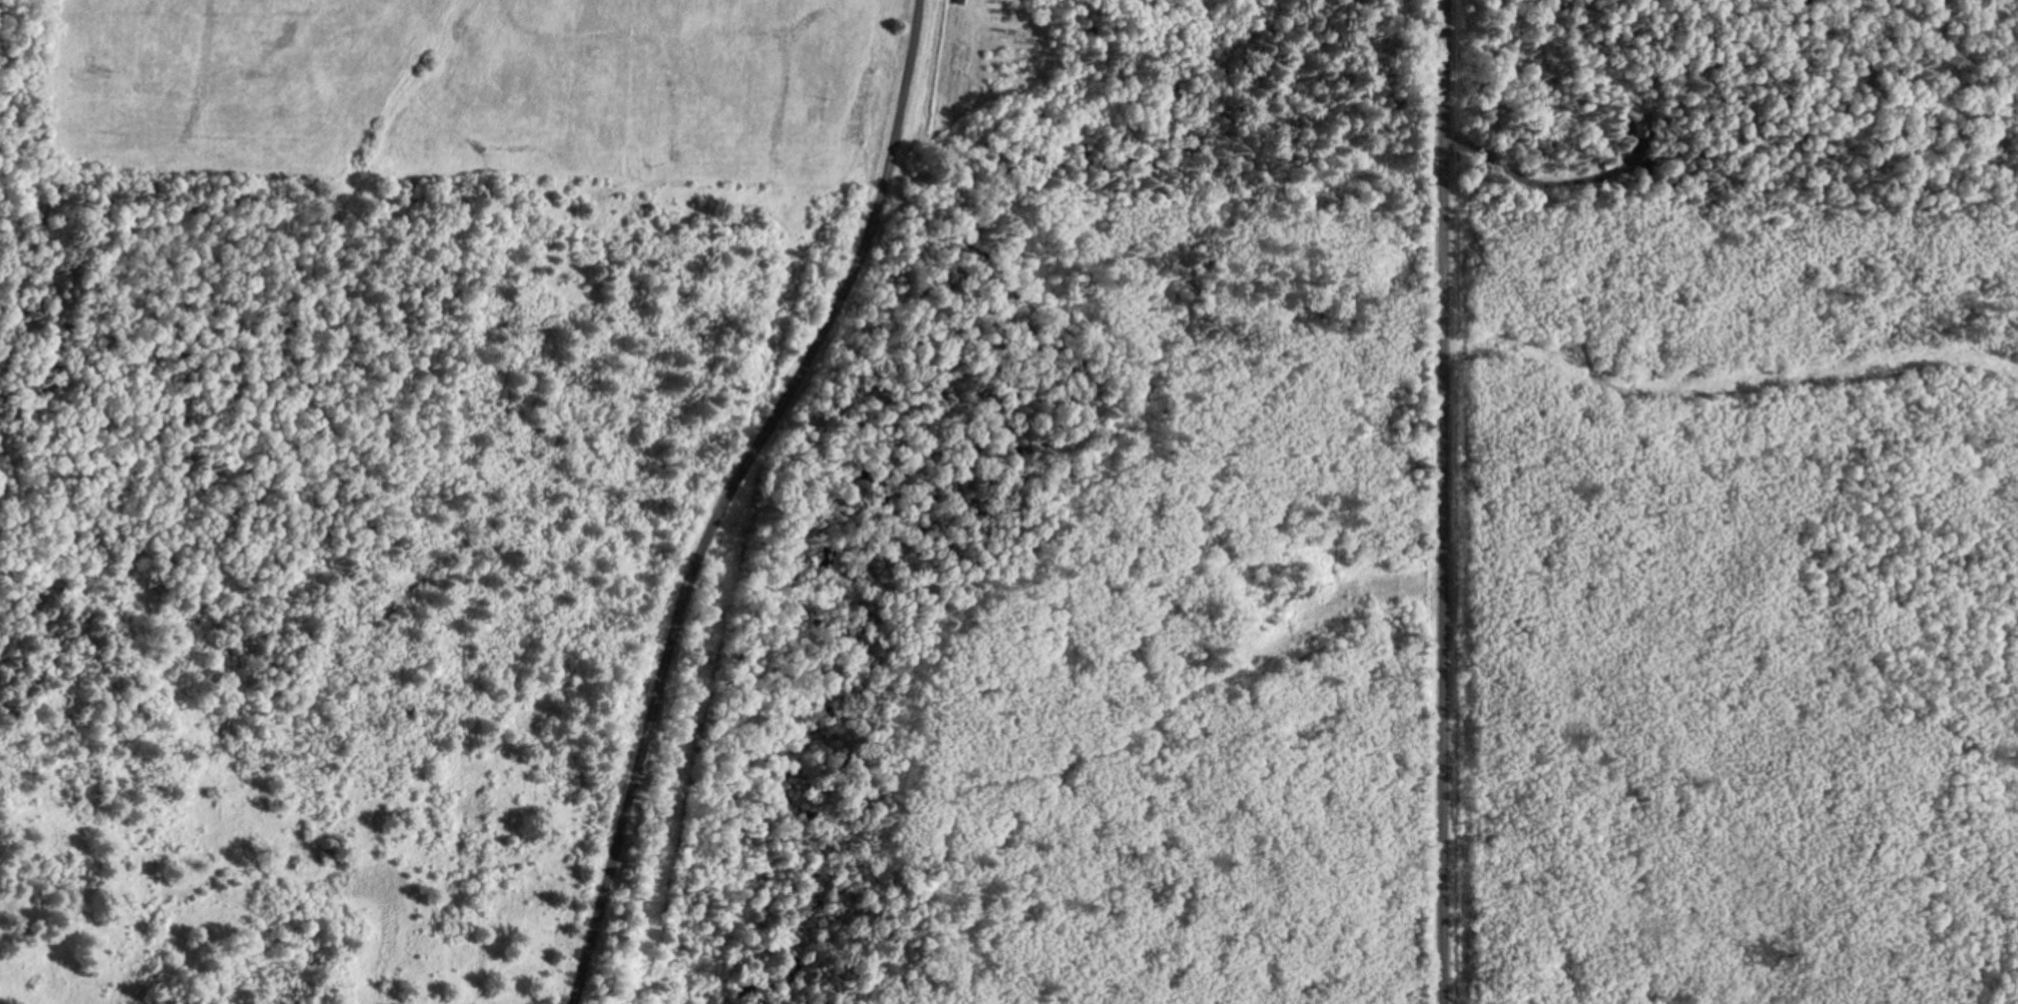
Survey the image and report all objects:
road: (721, 491)
road: (1444, 502)

